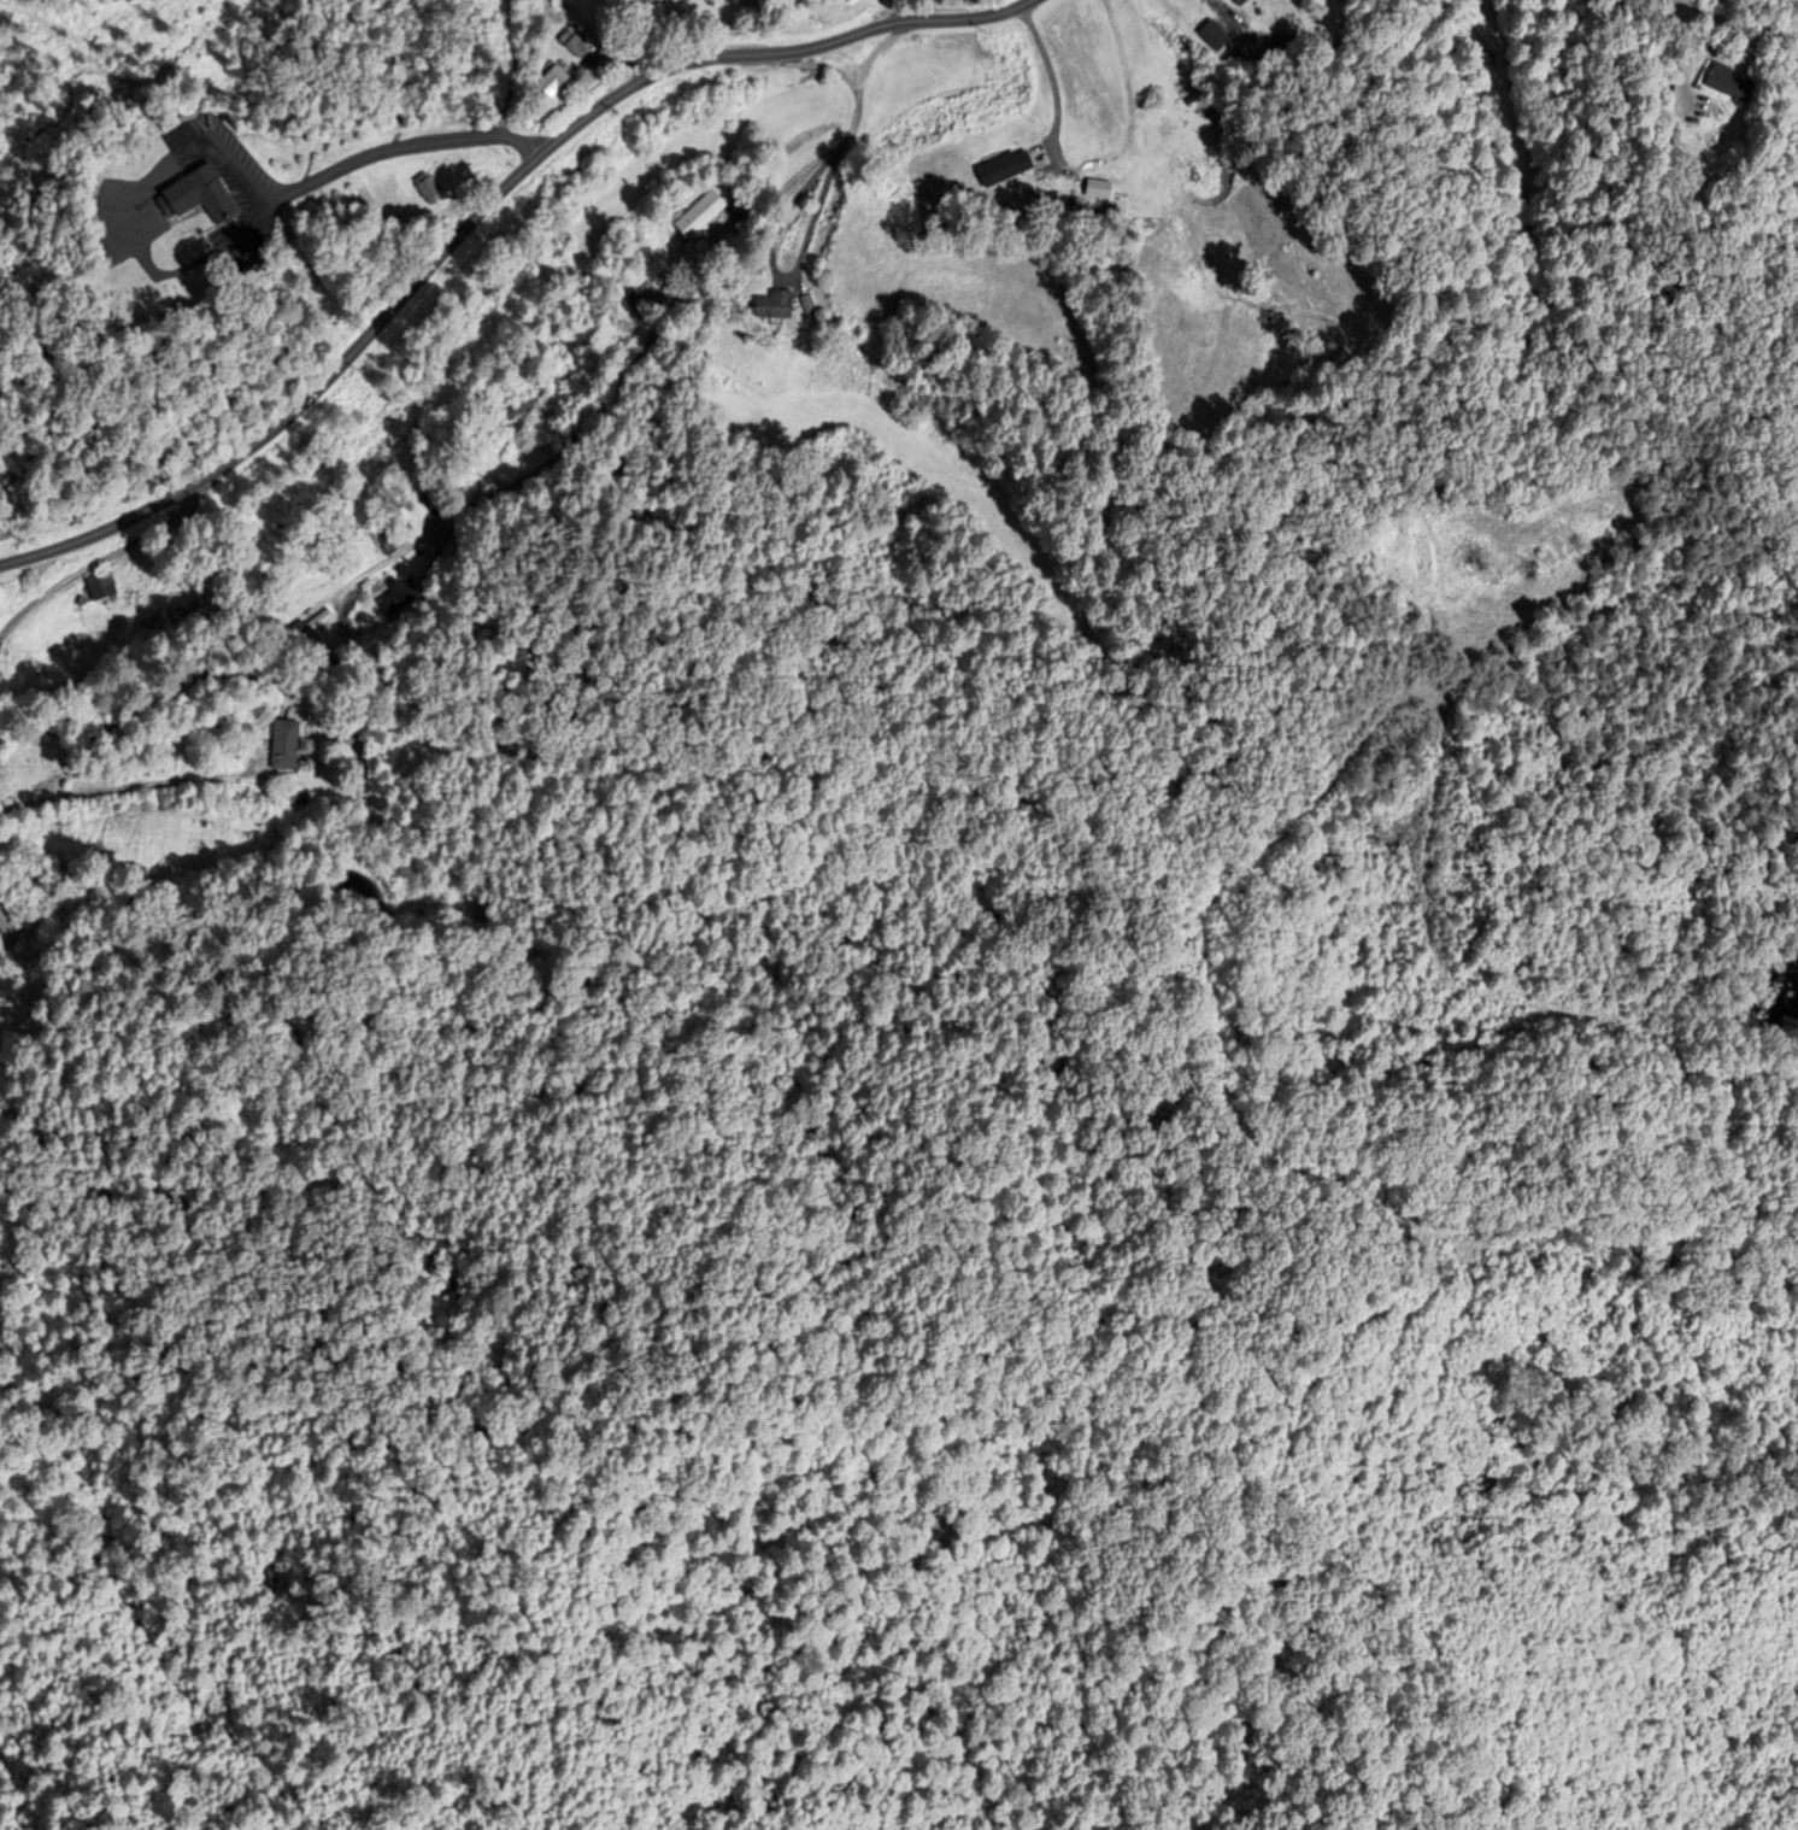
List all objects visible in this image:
building: (1235, 1)
road: (1220, 7)
road: (897, 11)
road: (1675, 47)
road: (621, 53)
road: (810, 65)
road: (512, 68)
building: (557, 82)
building: (1735, 82)
road: (405, 147)
building: (1005, 169)
building: (433, 190)
building: (200, 198)
road: (483, 210)
building: (701, 217)
building: (634, 305)
building: (777, 306)
road: (662, 327)
building: (523, 407)
building: (390, 538)
road: (98, 562)
building: (102, 587)
building: (399, 599)
building: (311, 628)
building: (287, 746)
building: (36, 752)
building: (346, 752)
road: (135, 787)
building: (7, 925)

